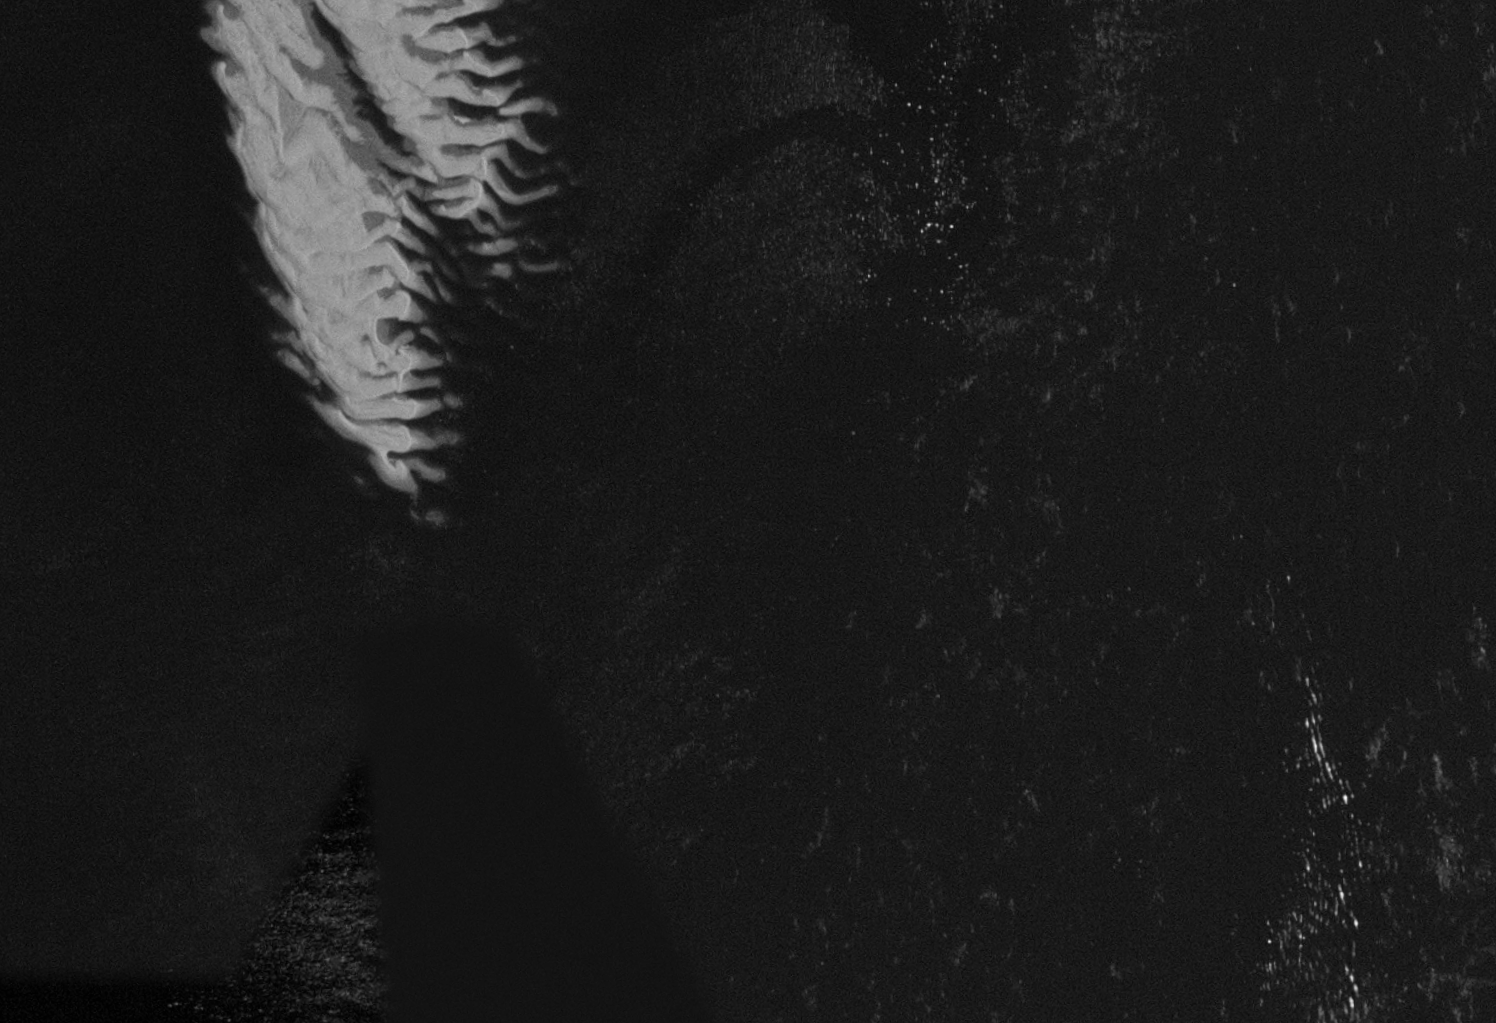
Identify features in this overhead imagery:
river: (982, 512)

